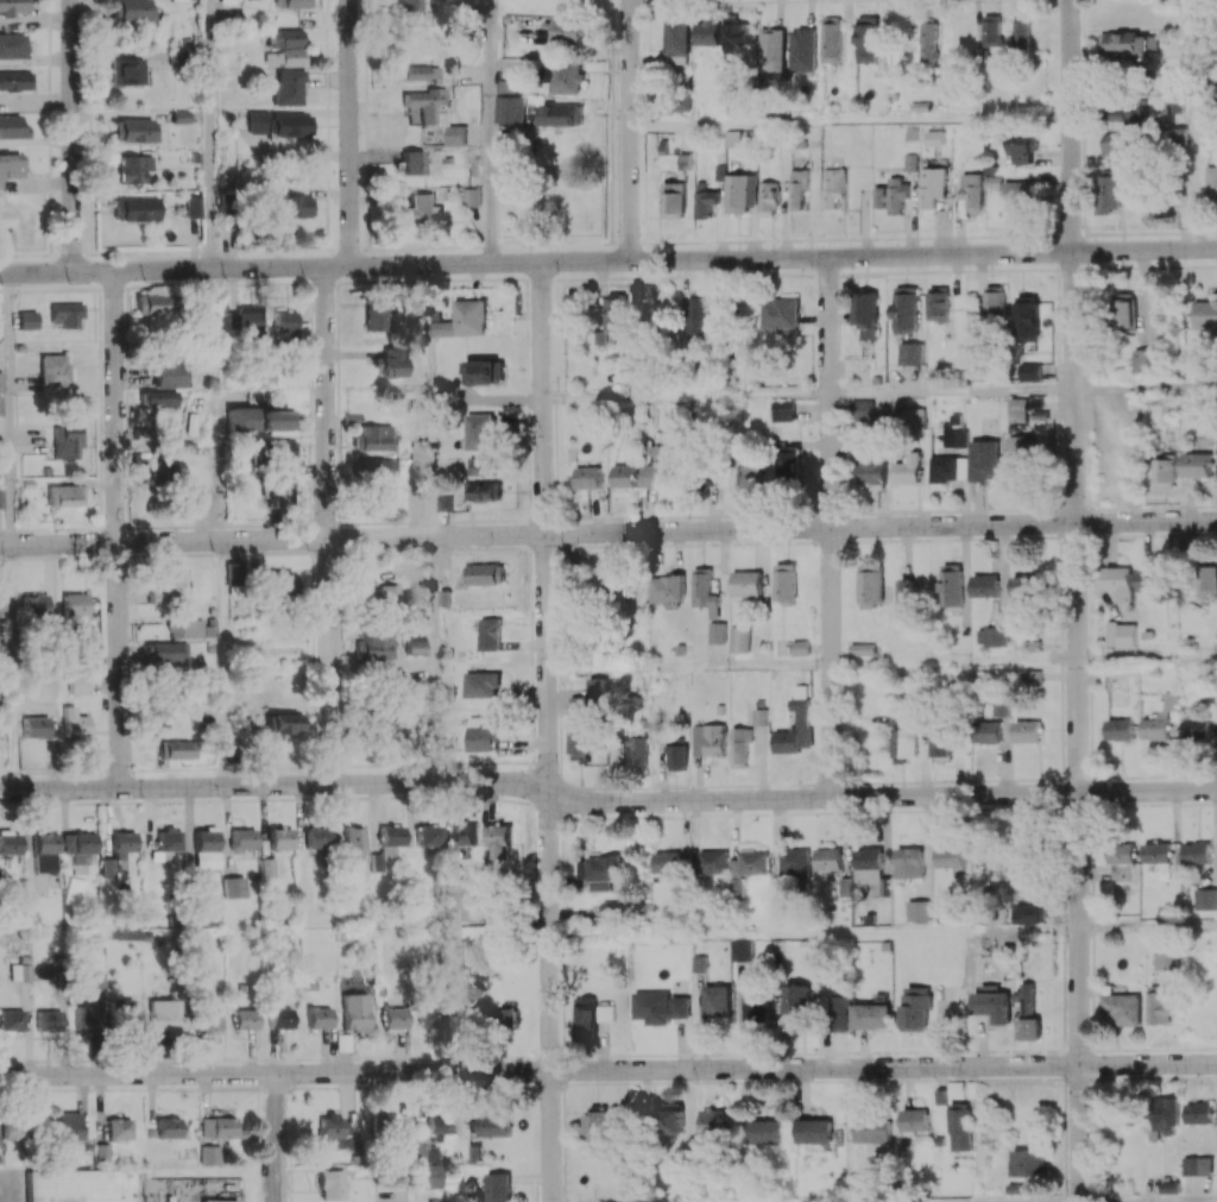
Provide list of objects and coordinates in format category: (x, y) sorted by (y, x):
building: (292, 4)
building: (13, 6)
building: (412, 7)
building: (132, 10)
building: (567, 30)
building: (992, 30)
building: (1022, 31)
building: (707, 32)
building: (736, 36)
building: (285, 38)
building: (831, 39)
building: (866, 39)
building: (676, 40)
building: (927, 42)
building: (1128, 44)
building: (12, 45)
building: (773, 49)
building: (803, 49)
building: (289, 57)
building: (128, 70)
building: (420, 71)
building: (565, 77)
building: (15, 80)
building: (286, 88)
building: (942, 94)
building: (425, 102)
building: (511, 109)
building: (563, 114)
building: (1131, 114)
road: (849, 120)
building: (279, 124)
building: (12, 126)
building: (135, 130)
road: (628, 130)
road: (492, 131)
road: (349, 132)
road: (215, 134)
building: (458, 134)
road: (72, 136)
building: (1184, 136)
building: (733, 138)
building: (934, 138)
building: (1122, 144)
building: (1022, 147)
building: (414, 162)
building: (909, 162)
building: (10, 166)
building: (130, 166)
road: (1199, 171)
building: (1212, 182)
building: (931, 185)
building: (833, 187)
building: (797, 188)
building: (1111, 191)
building: (739, 193)
building: (1019, 193)
building: (891, 195)
building: (472, 196)
building: (768, 197)
building: (702, 201)
building: (292, 206)
building: (194, 207)
building: (135, 208)
building: (421, 210)
building: (6, 240)
road: (608, 260)
building: (939, 303)
building: (153, 304)
building: (994, 304)
building: (906, 309)
building: (617, 311)
building: (1124, 311)
building: (67, 314)
building: (781, 314)
building: (866, 314)
building: (1206, 314)
building: (699, 315)
building: (374, 317)
building: (1027, 317)
building: (27, 319)
building: (467, 320)
building: (207, 321)
building: (250, 322)
building: (285, 325)
road: (221, 339)
building: (912, 353)
building: (1143, 360)
building: (392, 363)
building: (53, 370)
building: (486, 371)
building: (1032, 372)
building: (172, 375)
building: (1, 382)
road: (1145, 386)
road: (950, 391)
road: (685, 395)
building: (159, 398)
road: (431, 401)
building: (0, 404)
road: (14, 408)
building: (863, 409)
building: (1019, 409)
building: (783, 410)
building: (242, 419)
building: (909, 419)
building: (277, 420)
building: (481, 432)
building: (373, 438)
building: (953, 438)
building: (69, 442)
building: (283, 448)
building: (986, 460)
building: (1021, 460)
building: (484, 465)
building: (1198, 465)
building: (786, 466)
building: (872, 467)
building: (374, 468)
building: (907, 468)
building: (947, 468)
building: (1166, 471)
building: (168, 473)
building: (633, 476)
building: (705, 476)
building: (587, 477)
building: (744, 478)
building: (485, 491)
building: (280, 492)
building: (62, 495)
building: (444, 502)
road: (327, 524)
road: (830, 528)
road: (116, 529)
road: (607, 531)
building: (487, 573)
building: (1211, 575)
building: (1154, 579)
building: (280, 583)
building: (746, 583)
building: (784, 583)
building: (1121, 583)
building: (618, 584)
building: (871, 585)
building: (952, 585)
building: (985, 585)
building: (1029, 585)
building: (667, 589)
building: (168, 591)
building: (705, 591)
building: (379, 596)
building: (908, 599)
road: (1073, 600)
building: (75, 604)
building: (2, 605)
building: (33, 605)
building: (191, 628)
building: (717, 633)
building: (490, 634)
building: (1122, 635)
building: (992, 636)
building: (738, 638)
building: (374, 643)
building: (415, 643)
building: (801, 647)
building: (862, 649)
building: (165, 652)
road: (1146, 657)
road: (434, 660)
road: (952, 661)
road: (223, 663)
road: (688, 666)
road: (15, 667)
building: (1032, 675)
building: (77, 684)
building: (480, 684)
building: (598, 690)
building: (1000, 704)
building: (761, 716)
building: (1160, 718)
building: (802, 719)
building: (75, 723)
building: (286, 723)
building: (390, 723)
building: (579, 724)
building: (36, 726)
building: (1196, 728)
building: (1120, 729)
road: (546, 731)
building: (986, 731)
building: (1027, 731)
building: (480, 735)
building: (708, 740)
building: (939, 740)
building: (903, 744)
building: (740, 745)
building: (176, 749)
building: (636, 751)
building: (676, 756)
road: (606, 801)
building: (465, 833)
building: (428, 835)
building: (317, 837)
building: (169, 838)
building: (242, 838)
building: (280, 838)
building: (390, 838)
building: (500, 841)
building: (354, 842)
building: (122, 843)
building: (10, 845)
building: (78, 847)
building: (207, 848)
building: (45, 851)
building: (1197, 852)
building: (948, 856)
building: (1158, 856)
building: (868, 857)
building: (828, 858)
building: (1120, 860)
building: (668, 861)
building: (376, 862)
building: (713, 862)
building: (794, 862)
building: (908, 862)
building: (108, 867)
building: (266, 867)
building: (746, 868)
building: (603, 871)
building: (845, 886)
building: (884, 886)
building: (234, 887)
building: (1205, 899)
building: (611, 911)
building: (918, 911)
building: (1029, 913)
road: (1147, 926)
road: (813, 932)
building: (740, 950)
building: (1166, 958)
building: (21, 971)
building: (207, 973)
building: (97, 980)
building: (715, 1000)
building: (1027, 1003)
building: (994, 1005)
building: (794, 1006)
building: (1159, 1006)
building: (660, 1007)
building: (915, 1008)
building: (1122, 1008)
building: (355, 1012)
building: (755, 1012)
building: (122, 1013)
building: (838, 1013)
building: (163, 1014)
building: (871, 1015)
building: (86, 1017)
building: (319, 1017)
building: (279, 1018)
building: (395, 1018)
building: (49, 1019)
building: (245, 1019)
building: (430, 1019)
building: (586, 1019)
building: (11, 1020)
building: (210, 1020)
building: (1029, 1028)
road: (608, 1070)
building: (1199, 1113)
building: (1168, 1114)
building: (670, 1118)
building: (914, 1119)
building: (711, 1122)
building: (493, 1124)
building: (601, 1124)
building: (69, 1125)
building: (391, 1125)
building: (440, 1125)
building: (960, 1126)
building: (168, 1127)
building: (220, 1127)
building: (330, 1127)
building: (119, 1128)
building: (14, 1129)
building: (872, 1129)
building: (768, 1131)
building: (813, 1131)
road: (277, 1138)
building: (425, 1153)
building: (209, 1154)
building: (1029, 1163)
building: (1198, 1165)
building: (431, 1176)
building: (77, 1184)
building: (332, 1184)
building: (498, 1187)
building: (1172, 1187)
road: (415, 1189)
road: (1215, 1201)

